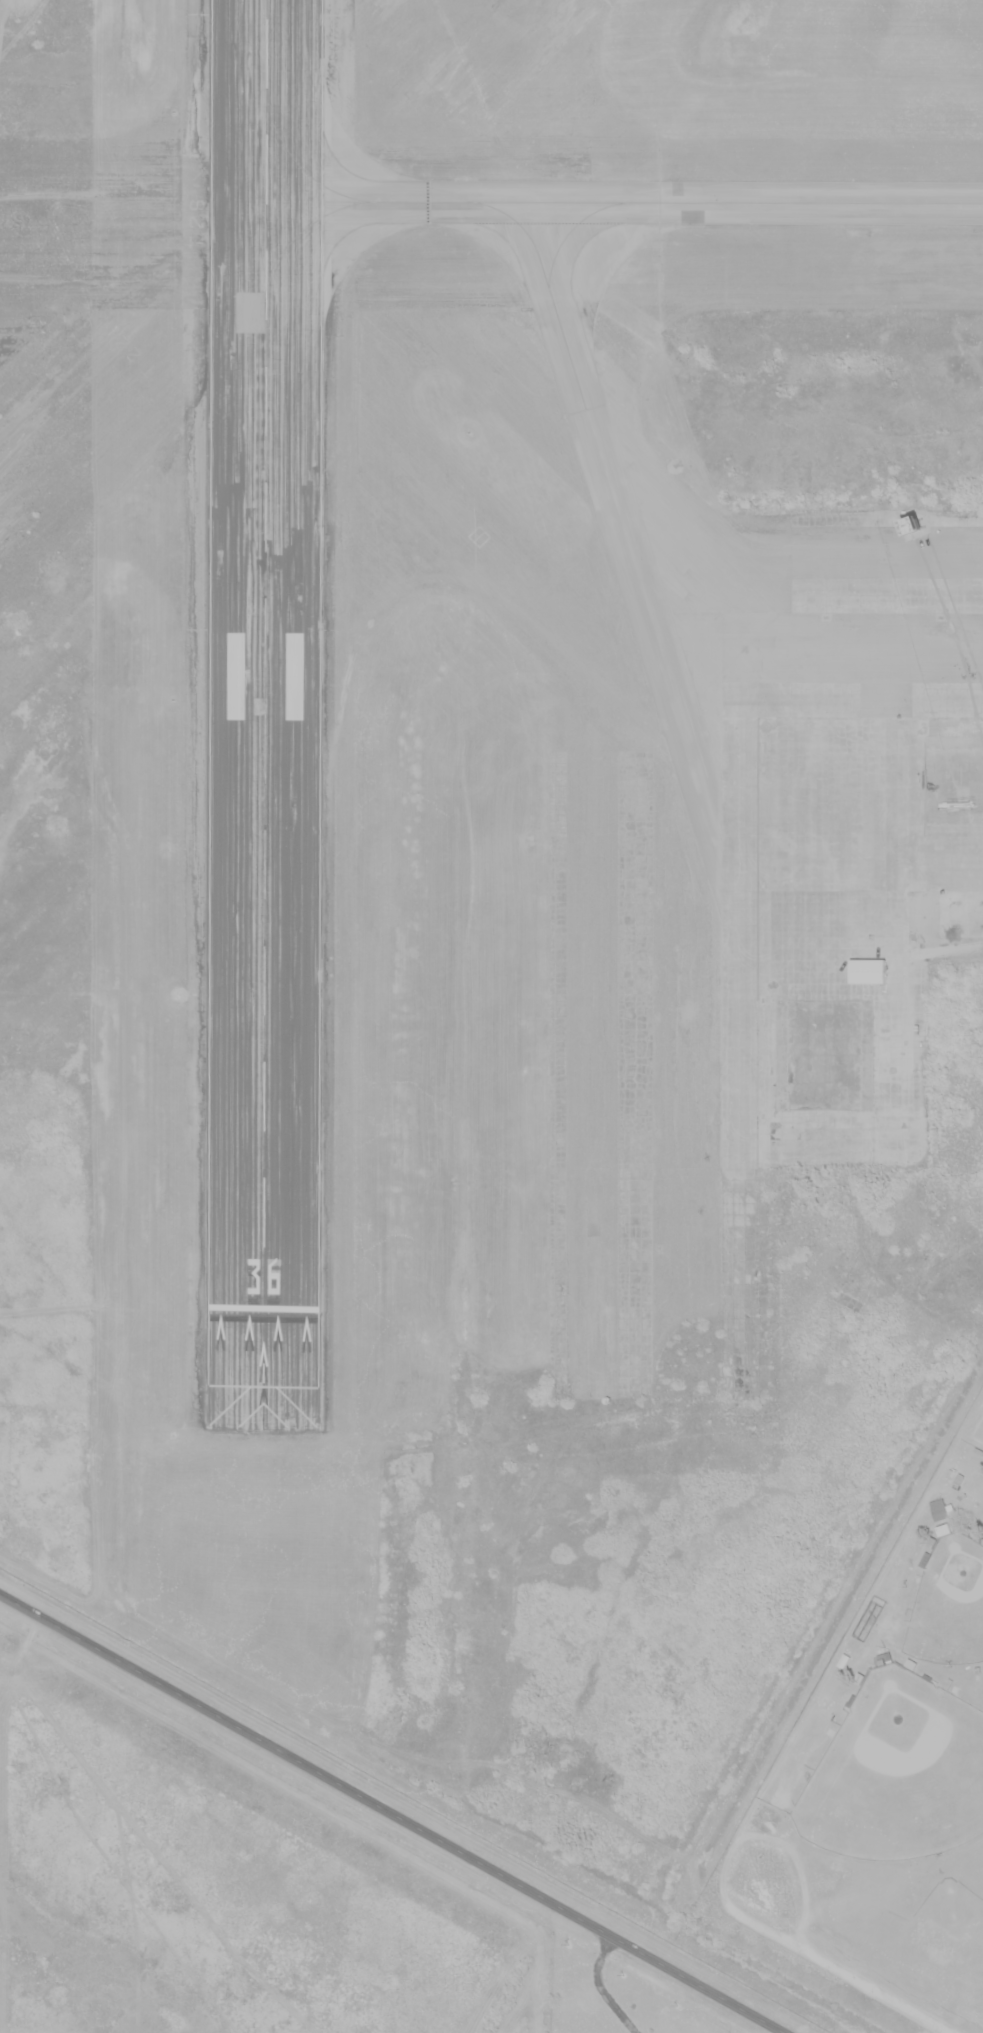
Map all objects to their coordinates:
airport taxiway: (624, 201)
airport taxiway: (620, 518)
building: (913, 526)
airport runway: (265, 655)
airport apron: (845, 822)
airport: (491, 868)
road: (946, 953)
building: (867, 971)
building: (943, 1509)
road: (390, 1814)
road: (842, 1972)

